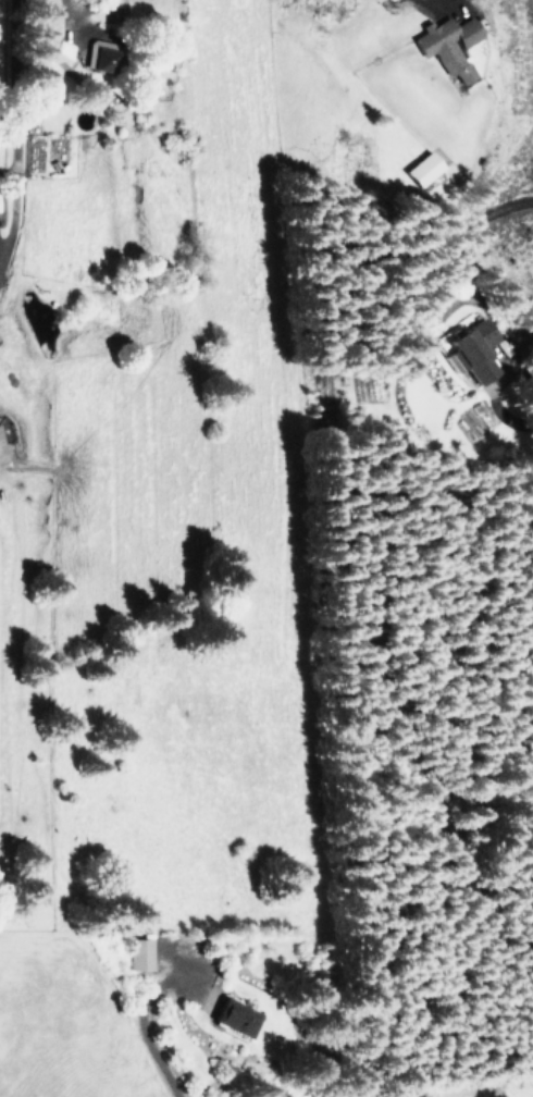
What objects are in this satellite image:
road: (423, 5)
building: (448, 46)
building: (102, 60)
building: (413, 168)
building: (444, 347)
building: (1, 453)
building: (137, 952)
building: (233, 1016)
road: (149, 1036)

